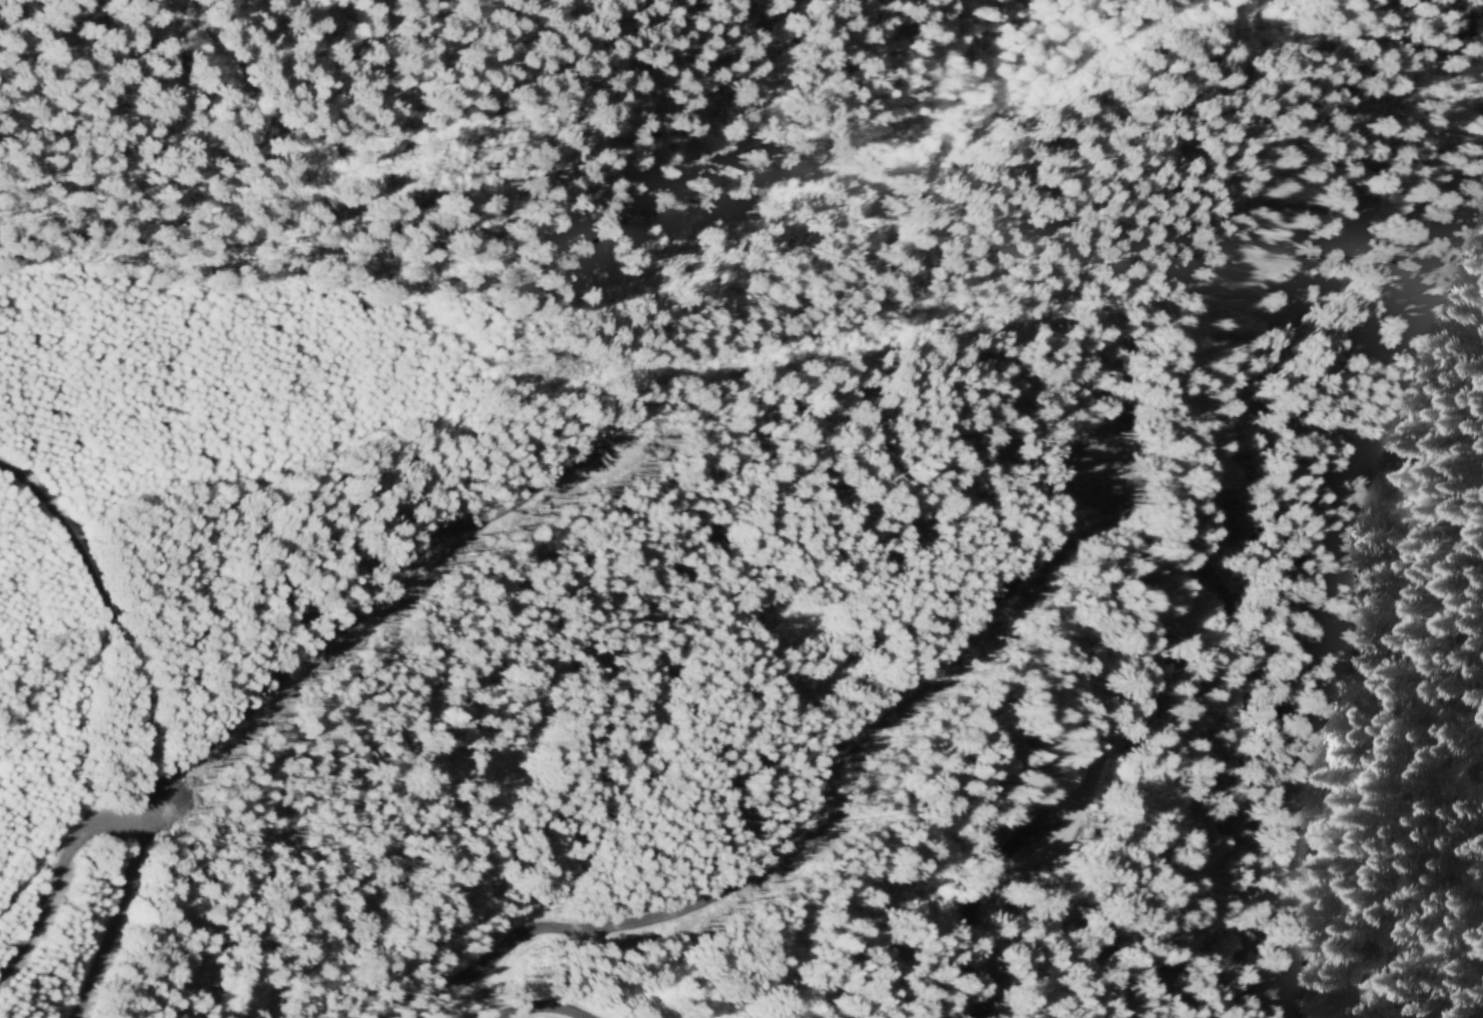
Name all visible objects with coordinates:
road: (138, 701)

